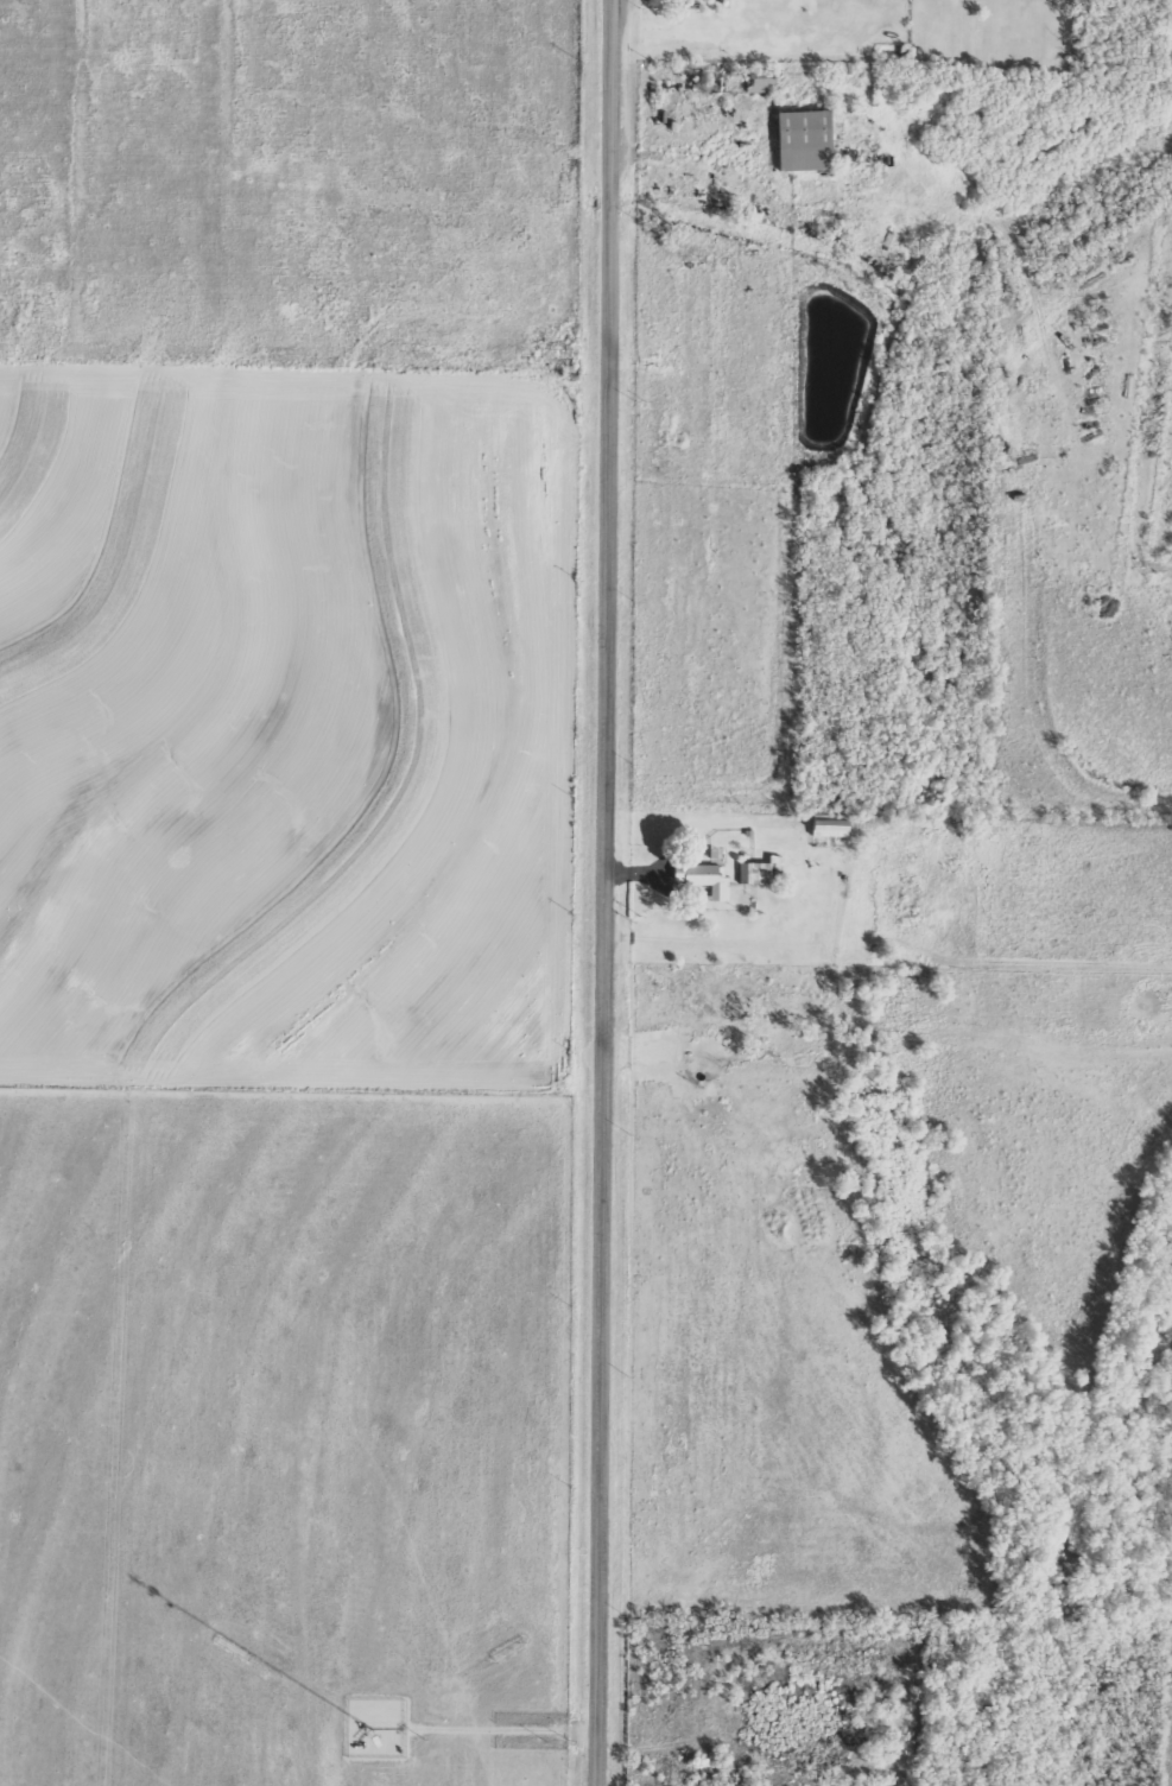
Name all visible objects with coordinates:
building: (765, 82)
building: (809, 139)
building: (762, 870)
building: (704, 876)
road: (607, 893)

